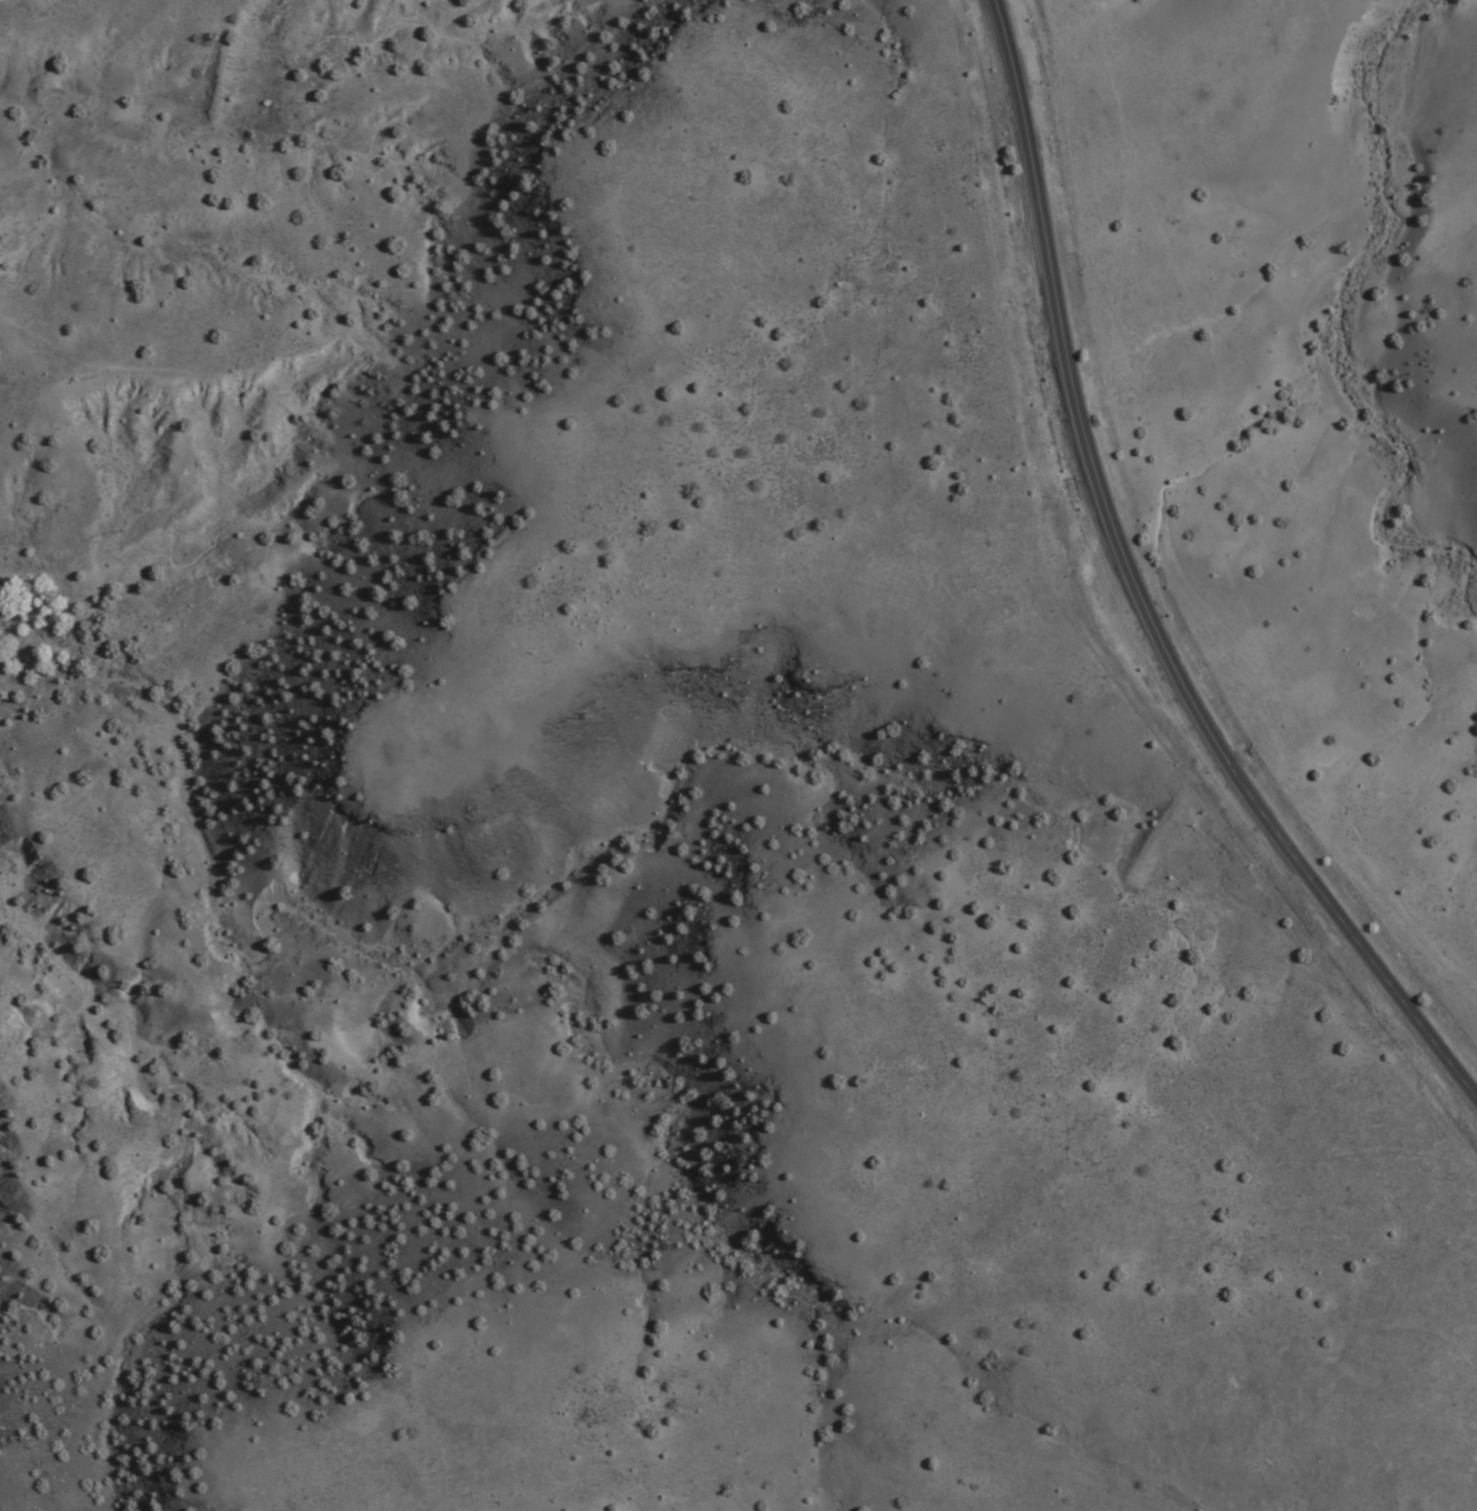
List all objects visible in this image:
road: (1137, 595)

